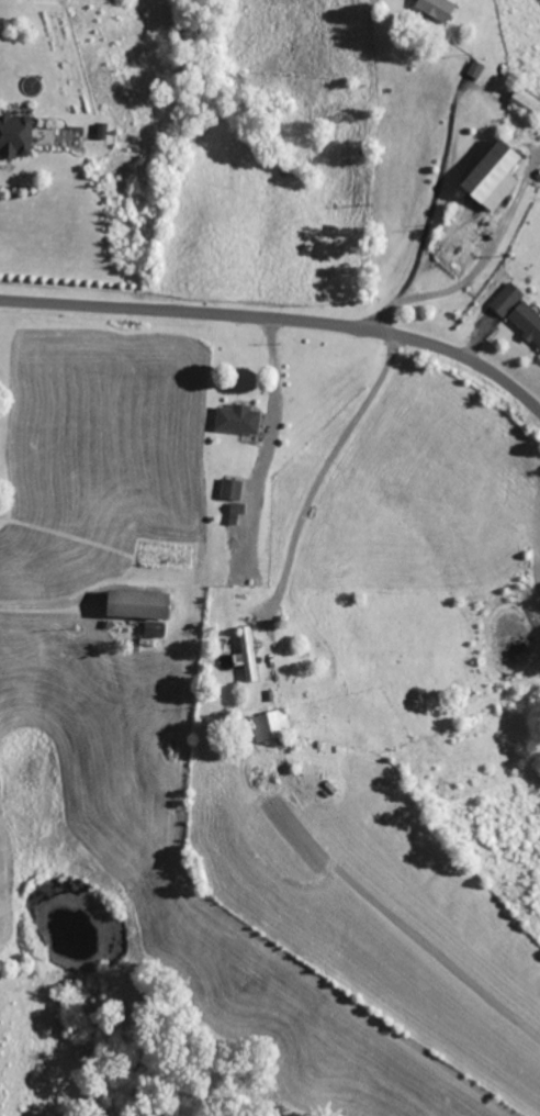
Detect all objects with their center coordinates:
building: (432, 9)
building: (473, 69)
building: (13, 135)
building: (490, 174)
building: (538, 174)
building: (504, 298)
road: (281, 316)
building: (526, 320)
building: (235, 417)
building: (228, 488)
building: (233, 512)
building: (133, 602)
building: (150, 628)
building: (245, 654)
building: (268, 723)

